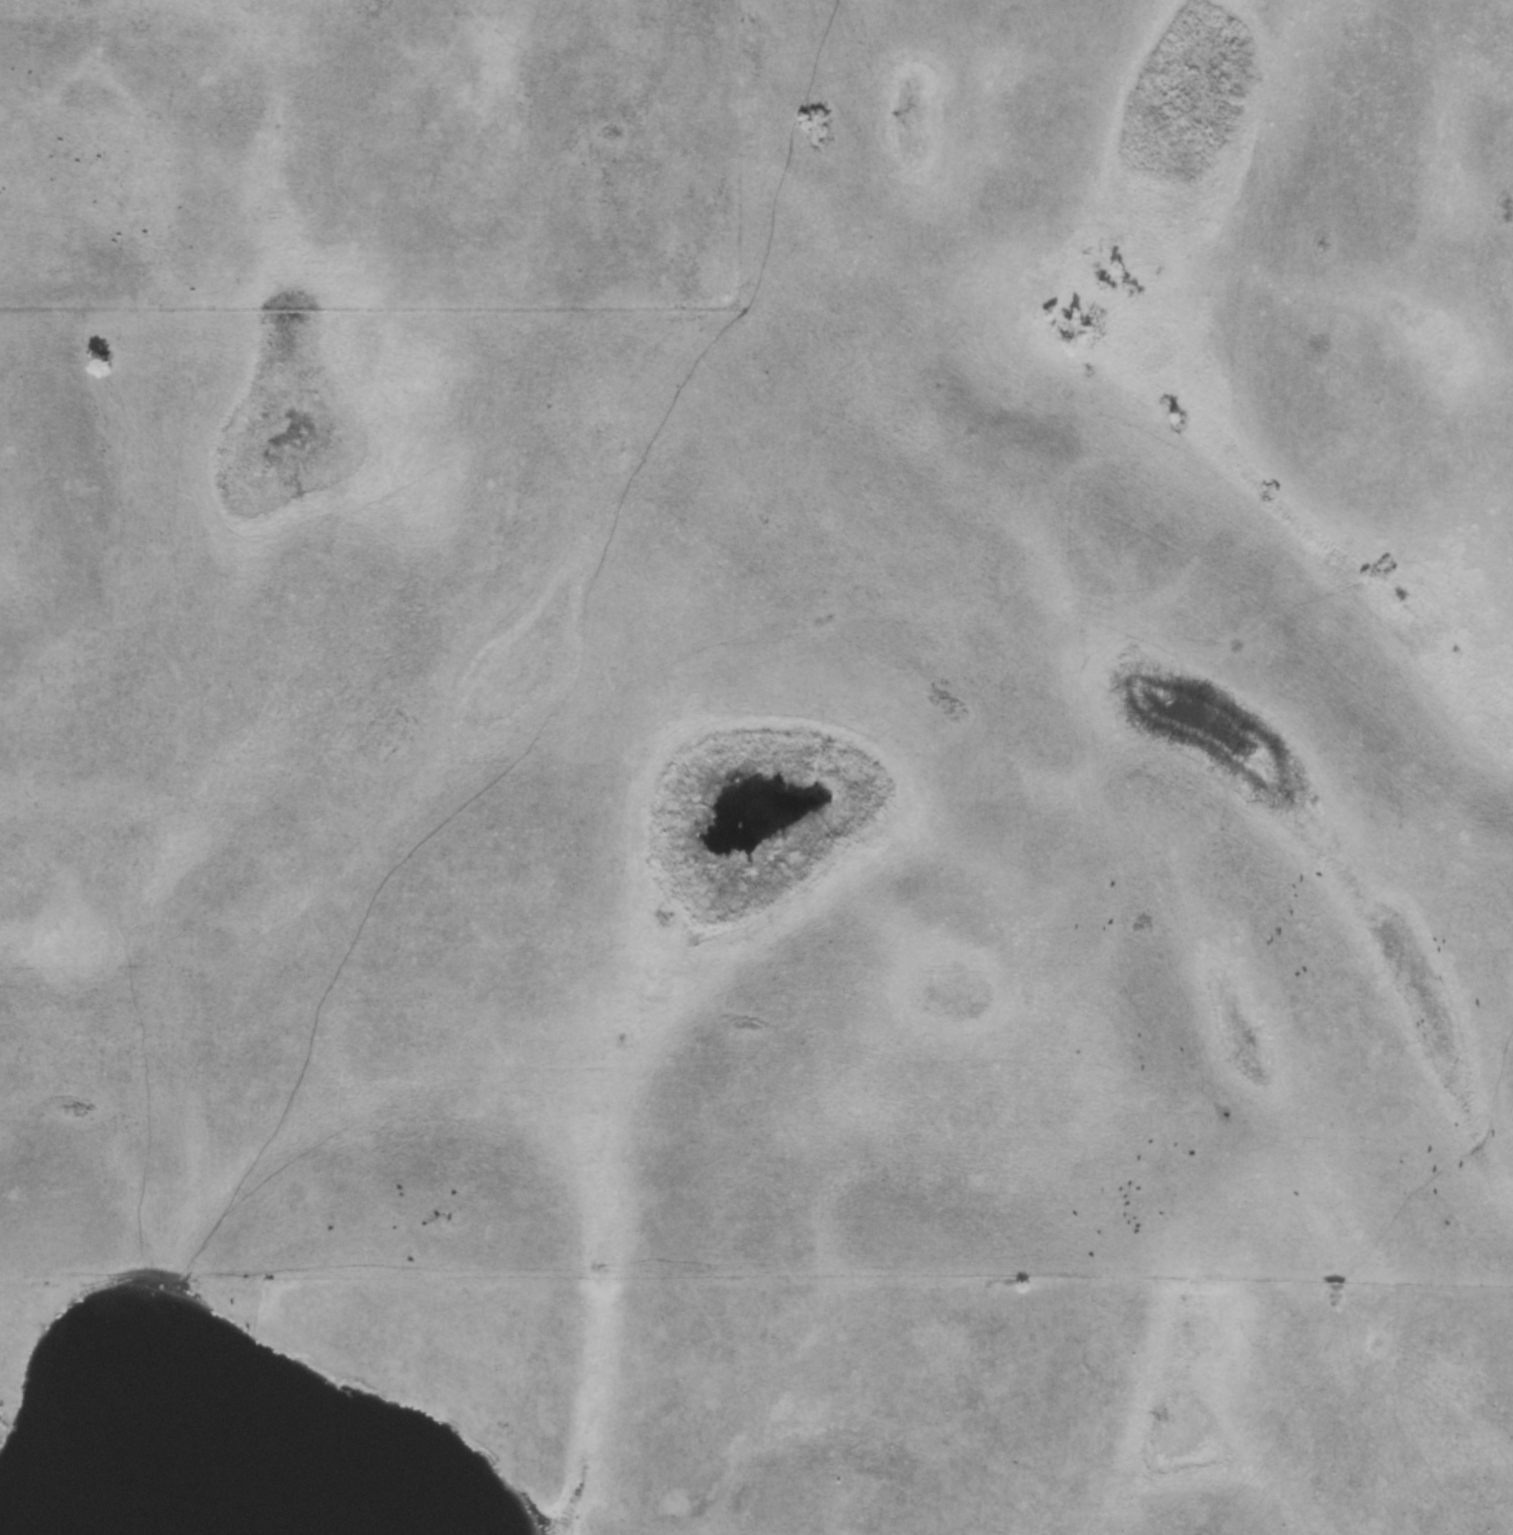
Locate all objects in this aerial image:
road: (756, 1314)

